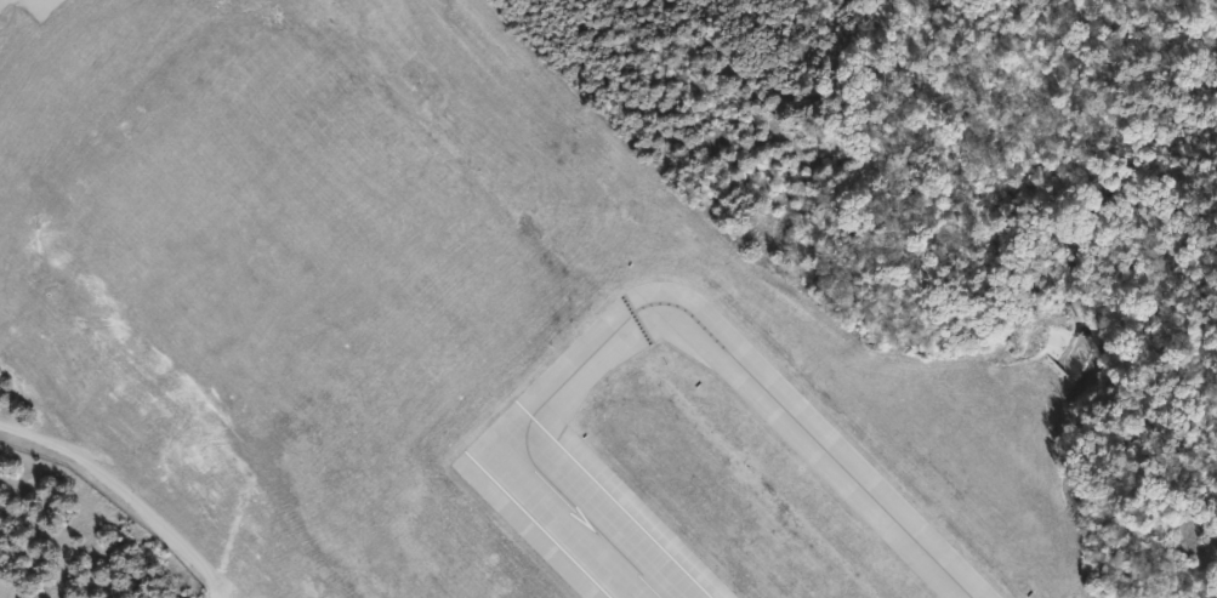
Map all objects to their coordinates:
airport: (627, 290)

